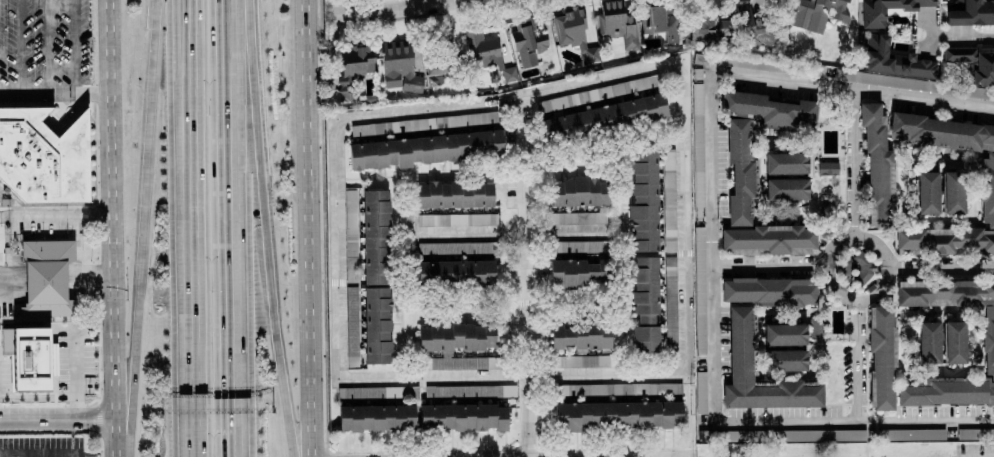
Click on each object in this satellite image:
road: (451, 2)
road: (381, 10)
building: (972, 12)
building: (816, 13)
building: (709, 14)
building: (874, 18)
building: (660, 21)
building: (616, 23)
building: (723, 26)
building: (697, 27)
building: (573, 30)
road: (960, 38)
building: (528, 40)
road: (72, 46)
road: (182, 51)
road: (193, 51)
building: (486, 54)
building: (701, 58)
building: (894, 59)
building: (973, 63)
building: (438, 64)
building: (399, 66)
building: (350, 70)
building: (696, 73)
road: (852, 89)
road: (36, 92)
road: (89, 92)
building: (977, 92)
building: (598, 93)
building: (768, 109)
building: (604, 117)
building: (424, 123)
building: (941, 132)
building: (698, 147)
building: (423, 149)
building: (44, 155)
building: (786, 163)
road: (855, 163)
building: (877, 166)
building: (828, 168)
building: (740, 171)
building: (786, 188)
building: (987, 189)
building: (579, 191)
building: (927, 192)
building: (953, 192)
building: (454, 194)
building: (669, 200)
building: (644, 202)
road: (143, 212)
building: (577, 217)
road: (54, 218)
building: (457, 219)
road: (278, 224)
road: (109, 228)
road: (232, 228)
road: (312, 228)
road: (563, 231)
road: (478, 232)
building: (376, 236)
building: (351, 237)
building: (769, 239)
building: (945, 240)
building: (580, 246)
road: (711, 246)
building: (483, 247)
road: (886, 258)
road: (84, 261)
building: (862, 264)
road: (941, 268)
road: (768, 269)
building: (598, 271)
building: (455, 272)
building: (567, 273)
building: (47, 275)
road: (525, 275)
road: (190, 279)
building: (699, 289)
building: (770, 290)
building: (670, 298)
building: (645, 304)
building: (377, 324)
building: (816, 329)
building: (784, 334)
building: (580, 335)
building: (954, 341)
building: (989, 341)
building: (928, 342)
building: (740, 343)
building: (455, 344)
road: (79, 347)
building: (28, 356)
building: (882, 358)
building: (785, 360)
road: (857, 360)
building: (581, 361)
road: (532, 370)
building: (624, 389)
building: (372, 392)
building: (701, 392)
building: (616, 414)
building: (463, 416)
building: (376, 417)
road: (854, 421)
road: (58, 422)
building: (909, 434)
building: (705, 435)
building: (789, 435)
parking lot: (975, 450)
road: (40, 456)

